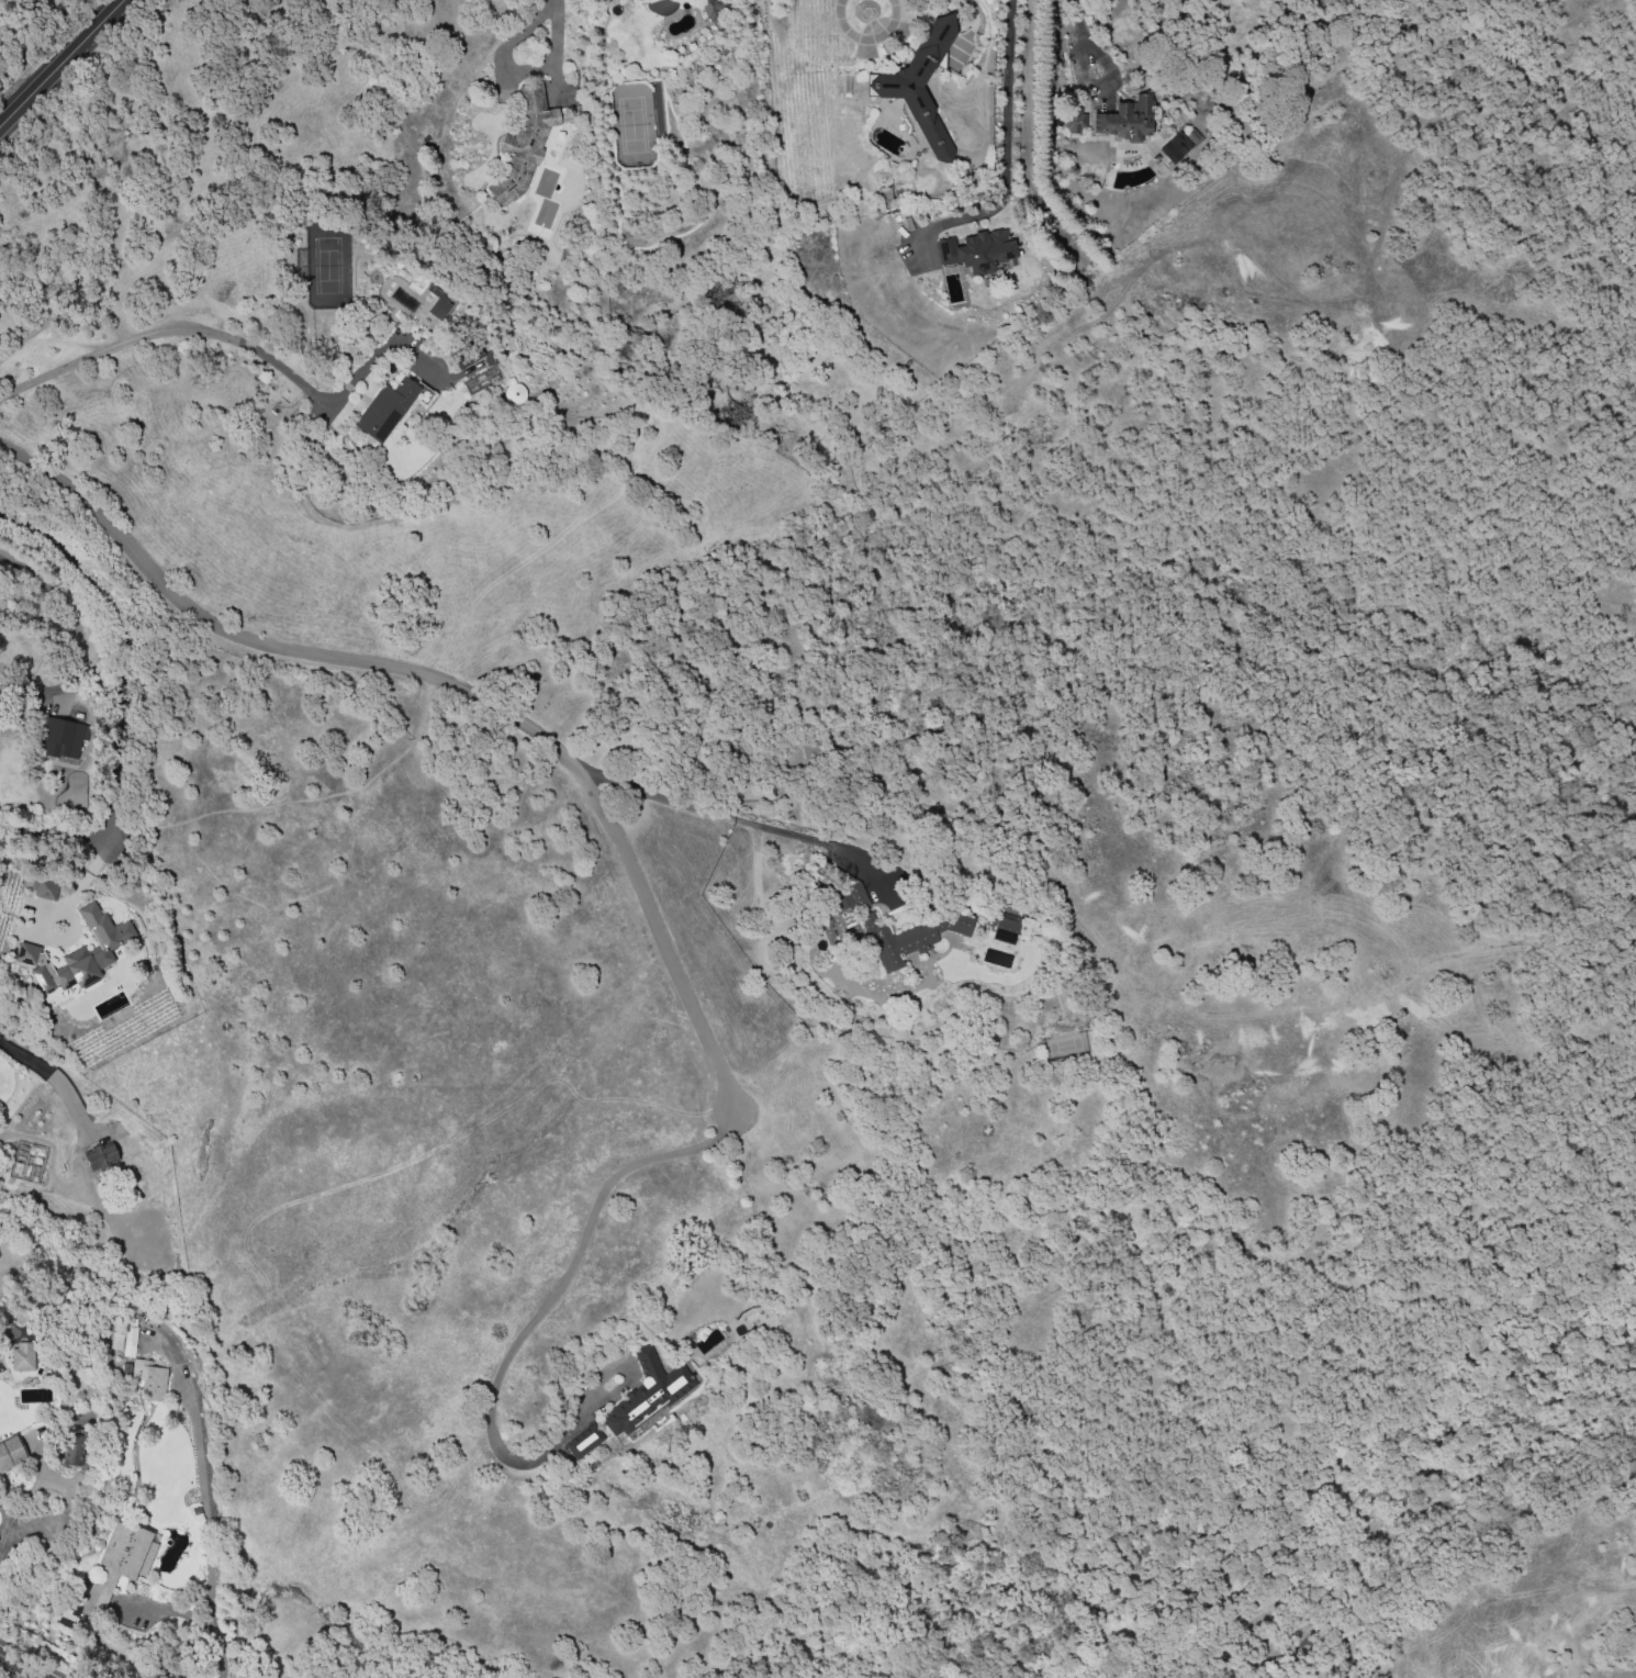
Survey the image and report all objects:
building: (639, 0)
building: (650, 0)
road: (967, 9)
building: (714, 10)
road: (1084, 34)
road: (867, 38)
road: (558, 40)
road: (60, 64)
building: (922, 87)
road: (1006, 120)
building: (1131, 121)
building: (847, 123)
building: (1075, 123)
building: (523, 143)
building: (1174, 147)
building: (850, 153)
building: (986, 253)
building: (438, 303)
road: (168, 327)
building: (514, 392)
building: (390, 410)
road: (271, 650)
road: (99, 676)
road: (56, 689)
building: (58, 738)
building: (808, 749)
road: (741, 820)
road: (58, 821)
building: (839, 883)
building: (45, 888)
road: (82, 899)
building: (1015, 930)
building: (919, 937)
road: (662, 943)
building: (77, 953)
road: (63, 1088)
building: (101, 1155)
road: (534, 1319)
building: (116, 1342)
building: (130, 1343)
building: (24, 1358)
building: (81, 1364)
building: (149, 1380)
building: (645, 1392)
building: (583, 1444)
building: (72, 1447)
building: (12, 1455)
road: (65, 1490)
road: (205, 1511)
road: (1, 1536)
building: (120, 1565)
building: (146, 1608)
road: (22, 1665)

